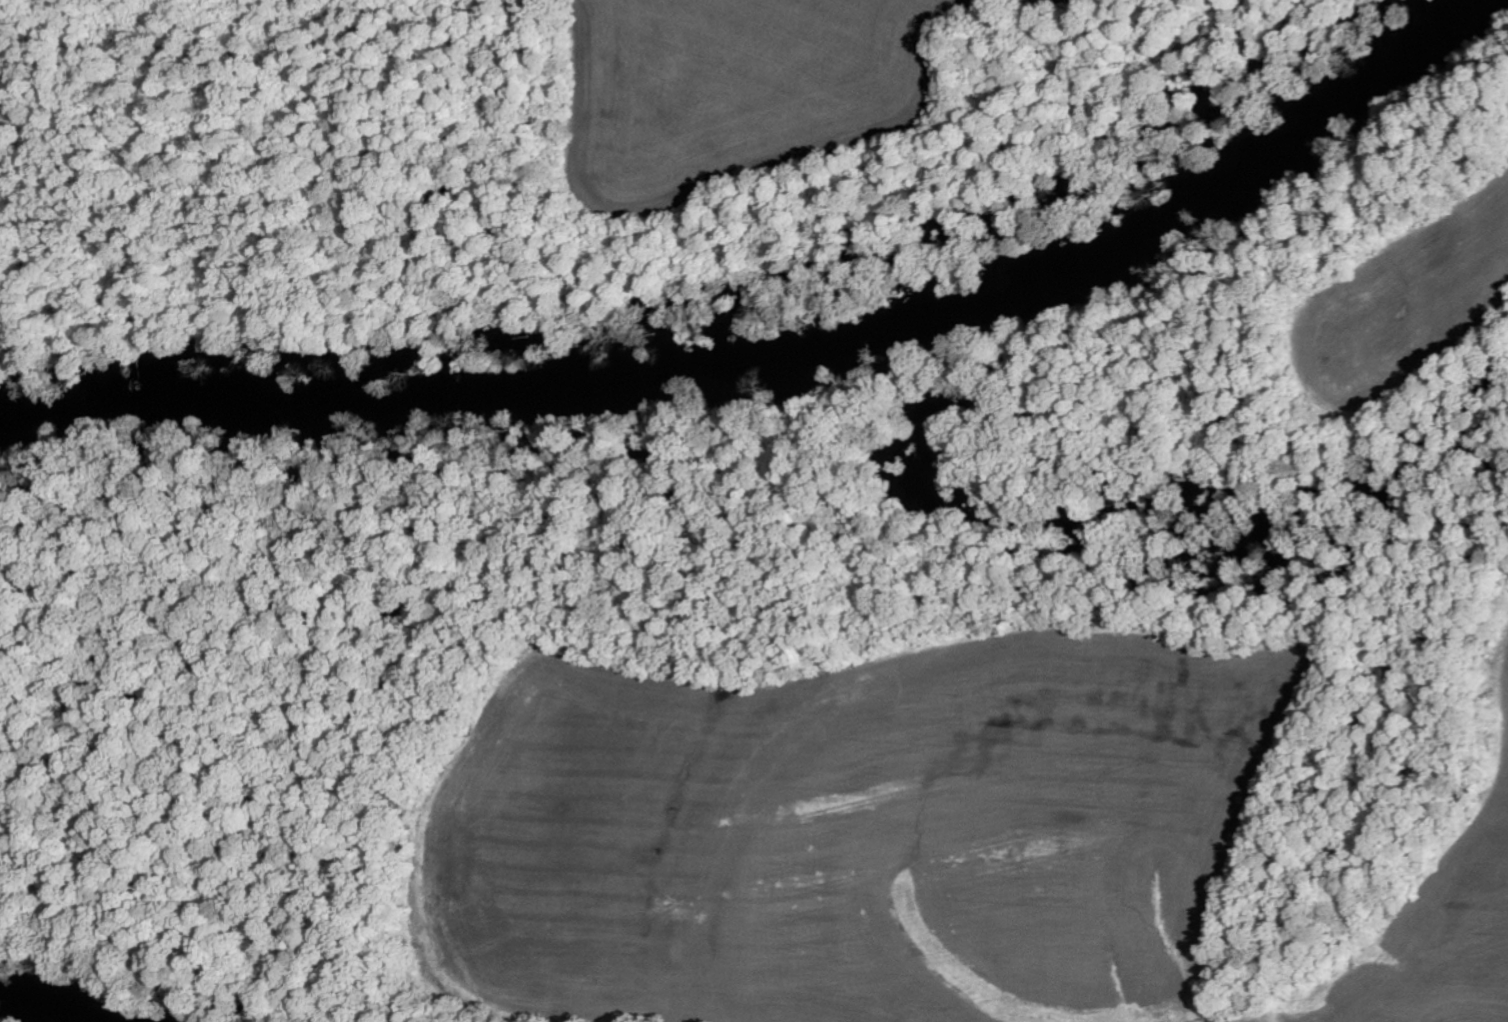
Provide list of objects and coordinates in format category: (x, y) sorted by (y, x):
river: (785, 355)
river: (50, 1001)

